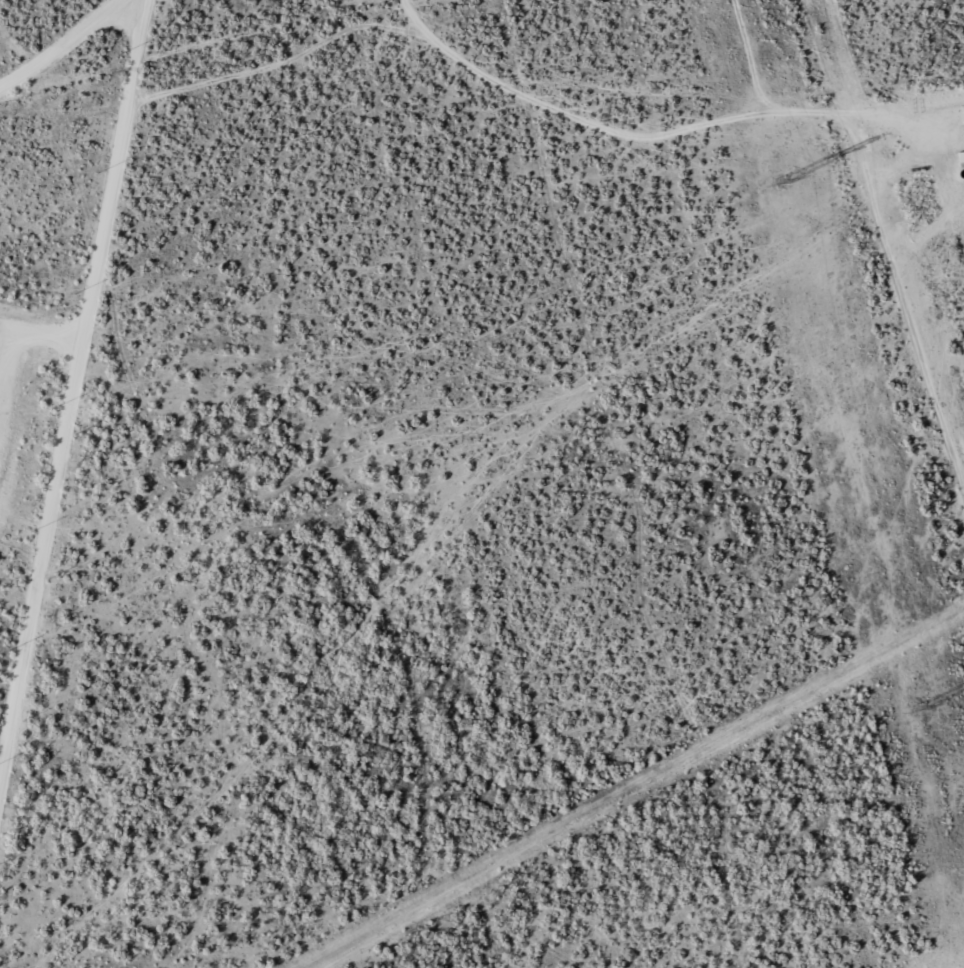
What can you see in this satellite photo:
road: (196, 51)
road: (660, 104)
power tower: (779, 180)
power tower: (917, 709)

